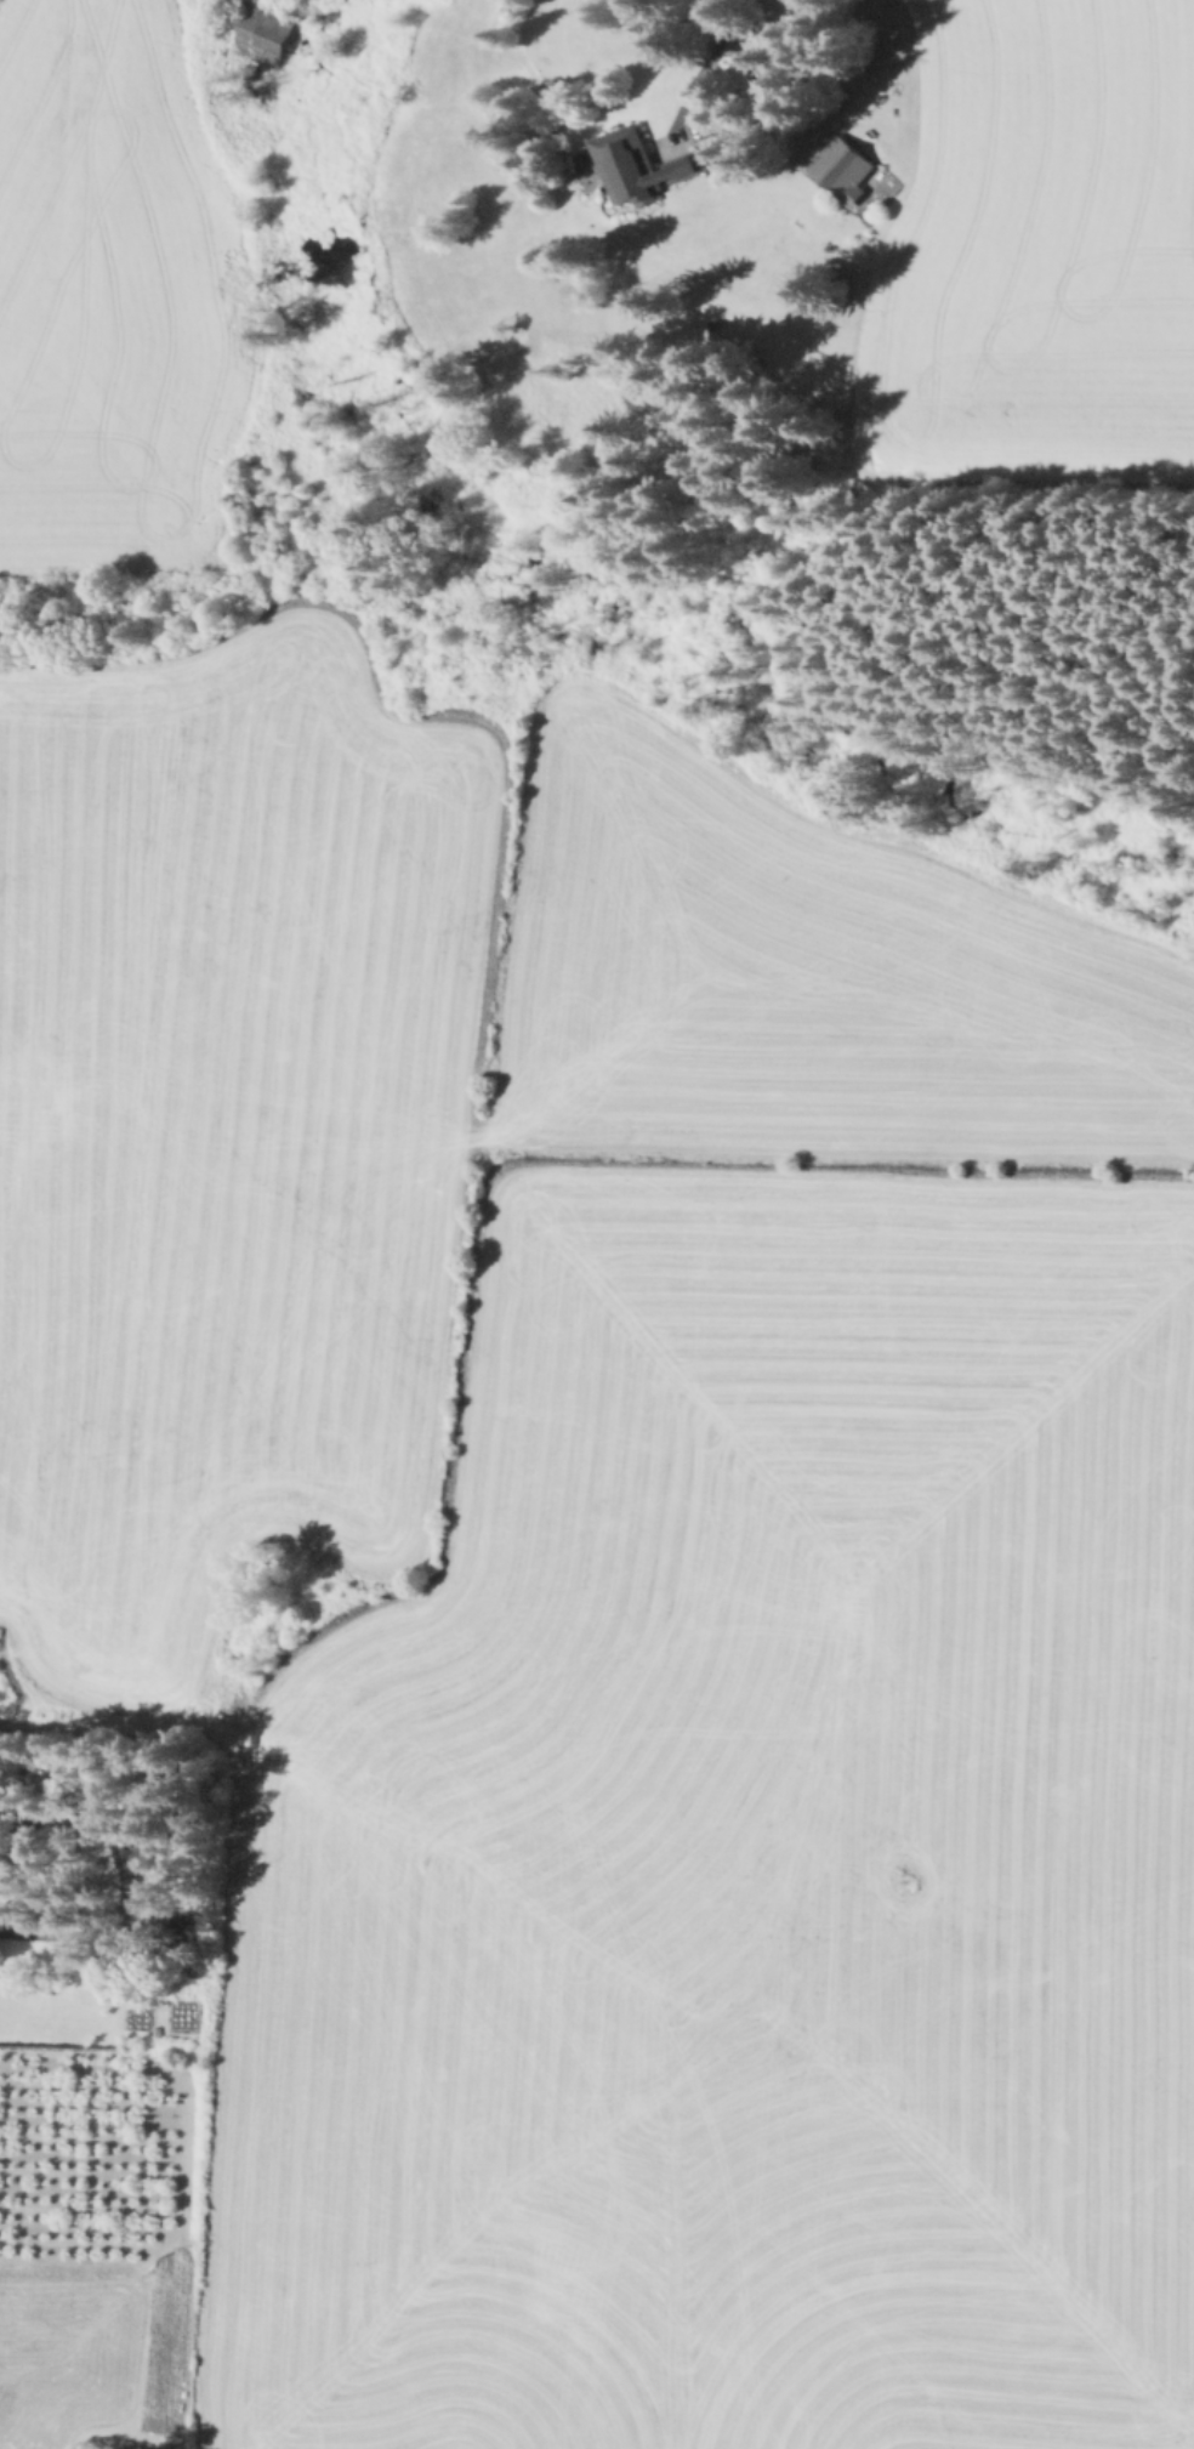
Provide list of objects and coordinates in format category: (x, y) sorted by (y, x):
building: (265, 33)
road: (732, 90)
road: (768, 102)
building: (641, 166)
building: (845, 167)
crop: (1036, 245)
crop: (112, 291)
crop: (806, 976)
crop: (223, 1126)
crop: (743, 1856)
road: (10, 1908)
building: (187, 1920)

